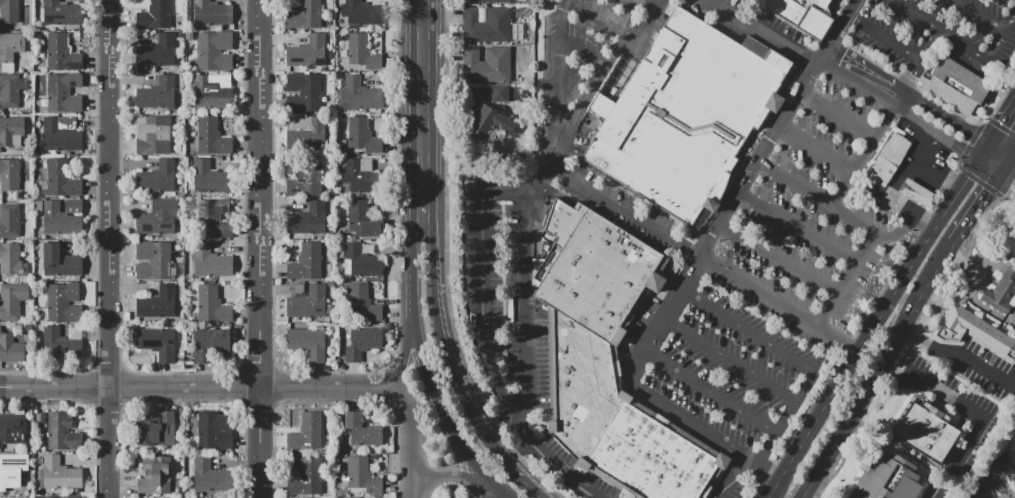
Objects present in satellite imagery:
building: (493, 1)
road: (649, 4)
road: (741, 6)
building: (210, 13)
building: (361, 13)
building: (9, 14)
building: (61, 14)
building: (803, 14)
building: (154, 16)
building: (306, 16)
road: (982, 16)
road: (597, 18)
road: (842, 23)
road: (1011, 24)
building: (487, 26)
parking lot: (938, 30)
road: (767, 31)
building: (189, 35)
road: (882, 38)
road: (954, 41)
building: (10, 50)
building: (214, 51)
building: (361, 51)
building: (156, 52)
building: (308, 52)
road: (584, 53)
building: (62, 54)
building: (331, 54)
road: (609, 60)
building: (486, 64)
road: (864, 67)
building: (325, 69)
building: (957, 85)
building: (306, 89)
building: (9, 92)
building: (64, 94)
building: (500, 94)
building: (157, 95)
building: (211, 95)
building: (358, 96)
road: (424, 105)
road: (898, 108)
building: (685, 114)
road: (838, 114)
road: (945, 115)
road: (1001, 118)
traffic signals: (1000, 121)
building: (488, 123)
building: (11, 132)
building: (314, 134)
building: (210, 136)
building: (58, 137)
building: (365, 137)
building: (155, 138)
traffic signals: (963, 146)
road: (1002, 148)
road: (815, 151)
building: (888, 158)
road: (1007, 159)
road: (996, 168)
building: (337, 171)
road: (935, 173)
building: (12, 175)
building: (358, 175)
building: (156, 178)
building: (208, 178)
building: (305, 178)
building: (61, 179)
road: (795, 184)
road: (895, 185)
road: (845, 189)
building: (916, 192)
traffic signals: (984, 192)
building: (332, 193)
road: (975, 205)
road: (627, 211)
building: (56, 219)
building: (157, 220)
building: (215, 220)
building: (308, 220)
building: (363, 220)
building: (10, 221)
road: (797, 227)
road: (896, 232)
building: (180, 241)
road: (113, 248)
road: (262, 248)
road: (526, 258)
building: (11, 260)
road: (777, 260)
building: (61, 262)
building: (155, 262)
building: (210, 262)
building: (361, 262)
road: (982, 262)
building: (305, 263)
road: (411, 272)
parking lot: (773, 272)
building: (198, 280)
road: (968, 282)
building: (331, 284)
road: (680, 288)
building: (1001, 294)
road: (481, 297)
building: (12, 301)
road: (776, 303)
building: (63, 304)
building: (156, 304)
building: (308, 304)
building: (362, 304)
building: (211, 305)
road: (875, 318)
building: (973, 332)
building: (51, 339)
road: (761, 339)
building: (210, 343)
building: (308, 343)
building: (363, 343)
building: (158, 345)
building: (11, 349)
road: (446, 353)
road: (962, 355)
road: (728, 360)
building: (609, 361)
road: (403, 362)
road: (879, 371)
road: (426, 376)
road: (198, 387)
road: (631, 392)
road: (708, 392)
road: (961, 402)
building: (40, 420)
building: (12, 427)
building: (156, 430)
building: (218, 431)
building: (361, 431)
road: (604, 431)
building: (62, 432)
building: (306, 432)
building: (926, 432)
road: (776, 434)
road: (412, 439)
road: (462, 444)
road: (517, 449)
building: (12, 469)
road: (445, 472)
road: (577, 473)
building: (58, 474)
building: (210, 475)
building: (305, 475)
building: (362, 475)
building: (1010, 475)
building: (156, 477)
road: (729, 477)
building: (888, 480)
road: (491, 486)
road: (531, 488)
road: (939, 494)
building: (30, 496)
building: (12, 497)
building: (52, 497)
building: (73, 497)
building: (165, 497)

